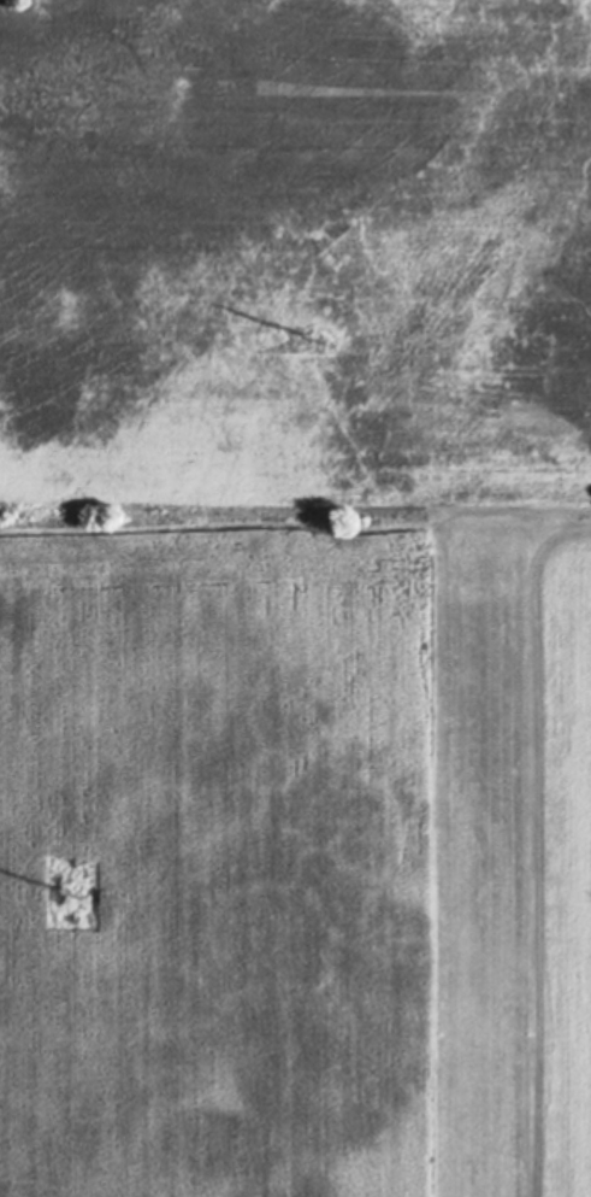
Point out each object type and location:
power tower: (317, 339)
airport: (492, 855)
airport runway: (480, 872)
power tower: (76, 892)

